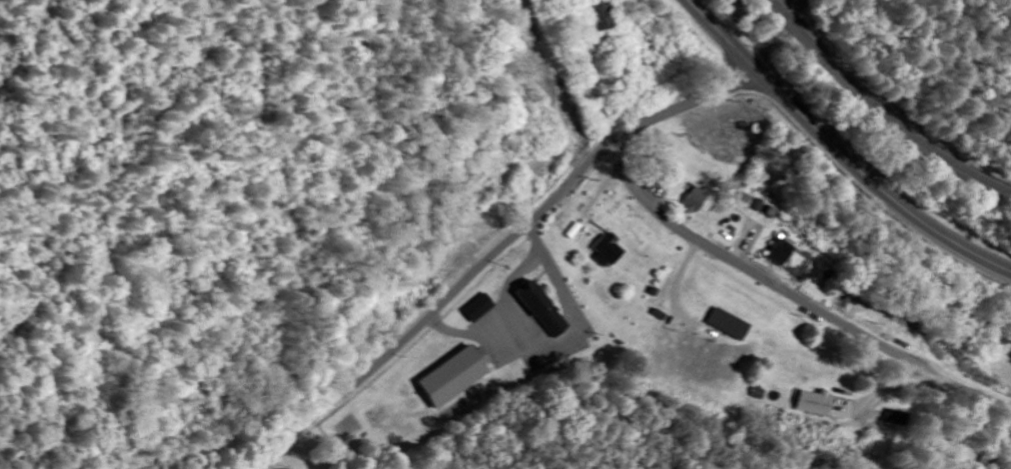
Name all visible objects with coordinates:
railway: (881, 108)
road: (837, 148)
building: (701, 200)
building: (613, 250)
road: (497, 252)
building: (788, 254)
road: (796, 291)
building: (483, 308)
building: (548, 311)
building: (736, 325)
building: (462, 377)
building: (824, 404)

